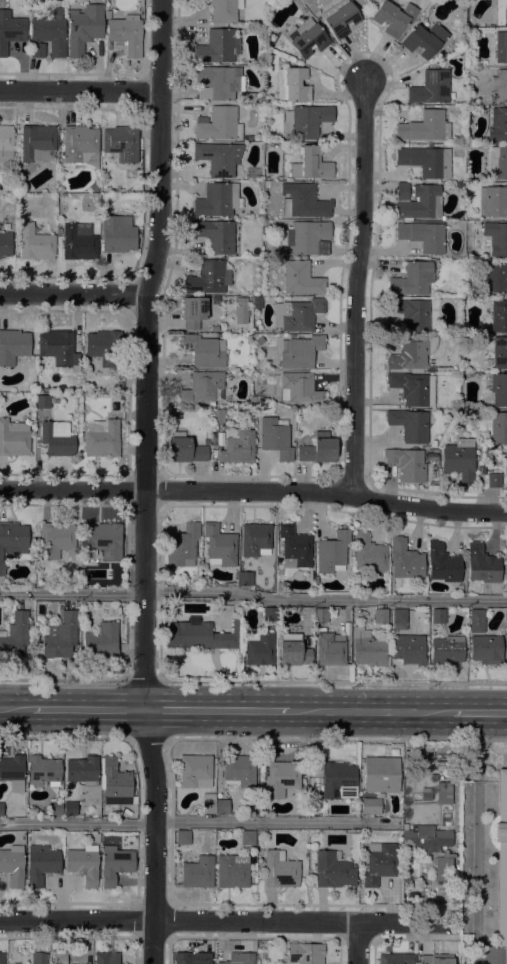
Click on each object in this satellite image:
building: (221, 9)
building: (501, 12)
building: (393, 17)
building: (340, 18)
building: (84, 28)
building: (10, 30)
building: (47, 34)
building: (126, 34)
building: (305, 38)
building: (424, 40)
building: (217, 46)
building: (500, 48)
building: (218, 82)
building: (292, 85)
building: (500, 86)
building: (430, 88)
road: (81, 92)
building: (245, 98)
building: (309, 121)
building: (218, 124)
building: (497, 125)
building: (424, 127)
building: (250, 138)
building: (37, 143)
building: (121, 143)
building: (80, 145)
building: (6, 146)
building: (218, 158)
building: (426, 161)
building: (496, 163)
building: (311, 164)
building: (266, 184)
building: (217, 200)
building: (303, 201)
building: (418, 201)
building: (493, 201)
building: (59, 232)
building: (117, 234)
building: (216, 236)
building: (423, 236)
building: (307, 237)
building: (496, 238)
building: (36, 242)
building: (79, 242)
building: (5, 244)
building: (496, 277)
building: (208, 278)
building: (301, 279)
building: (412, 280)
road: (358, 288)
road: (73, 292)
building: (240, 310)
building: (193, 312)
building: (411, 314)
building: (300, 315)
building: (498, 317)
building: (216, 329)
building: (13, 346)
building: (104, 347)
building: (57, 348)
building: (204, 351)
building: (300, 352)
road: (147, 353)
building: (413, 353)
building: (499, 353)
building: (202, 388)
building: (413, 388)
building: (299, 389)
building: (499, 389)
building: (43, 402)
building: (215, 419)
building: (410, 425)
building: (497, 428)
building: (275, 438)
building: (13, 439)
building: (57, 439)
building: (101, 439)
building: (219, 439)
building: (237, 446)
building: (184, 449)
building: (318, 449)
building: (431, 457)
building: (459, 460)
building: (406, 464)
building: (506, 469)
building: (494, 480)
road: (254, 491)
building: (11, 538)
building: (31, 538)
building: (55, 540)
building: (105, 540)
building: (255, 540)
building: (182, 546)
building: (219, 546)
building: (294, 549)
building: (506, 550)
building: (332, 552)
building: (368, 554)
building: (405, 560)
building: (442, 564)
building: (481, 565)
building: (245, 579)
road: (253, 595)
building: (269, 614)
building: (320, 614)
building: (380, 616)
building: (438, 616)
building: (506, 616)
building: (399, 619)
building: (476, 621)
building: (198, 635)
building: (15, 636)
building: (60, 636)
building: (101, 642)
building: (330, 649)
building: (368, 649)
building: (408, 649)
building: (260, 650)
building: (485, 650)
building: (292, 651)
building: (445, 651)
road: (63, 680)
road: (143, 681)
road: (333, 681)
road: (15, 707)
road: (88, 708)
road: (217, 710)
road: (370, 712)
road: (478, 714)
road: (108, 737)
road: (147, 738)
road: (335, 739)
building: (410, 761)
building: (442, 766)
building: (12, 768)
building: (82, 771)
building: (195, 771)
building: (238, 771)
building: (42, 772)
building: (380, 774)
building: (280, 778)
building: (333, 778)
building: (114, 783)
building: (443, 794)
building: (425, 797)
building: (208, 803)
building: (370, 806)
building: (221, 807)
building: (54, 808)
building: (69, 808)
building: (1, 809)
road: (155, 814)
road: (195, 822)
building: (182, 837)
building: (247, 837)
road: (477, 838)
park: (482, 853)
building: (432, 858)
building: (500, 860)
building: (379, 863)
building: (40, 864)
building: (83, 864)
building: (114, 864)
building: (12, 866)
building: (279, 870)
building: (232, 871)
building: (332, 871)
building: (197, 872)
road: (202, 920)
road: (155, 942)
road: (358, 942)
building: (303, 953)
building: (107, 957)
building: (1, 958)
building: (38, 958)
building: (59, 958)
building: (192, 958)
building: (238, 958)
building: (396, 958)
building: (436, 959)

